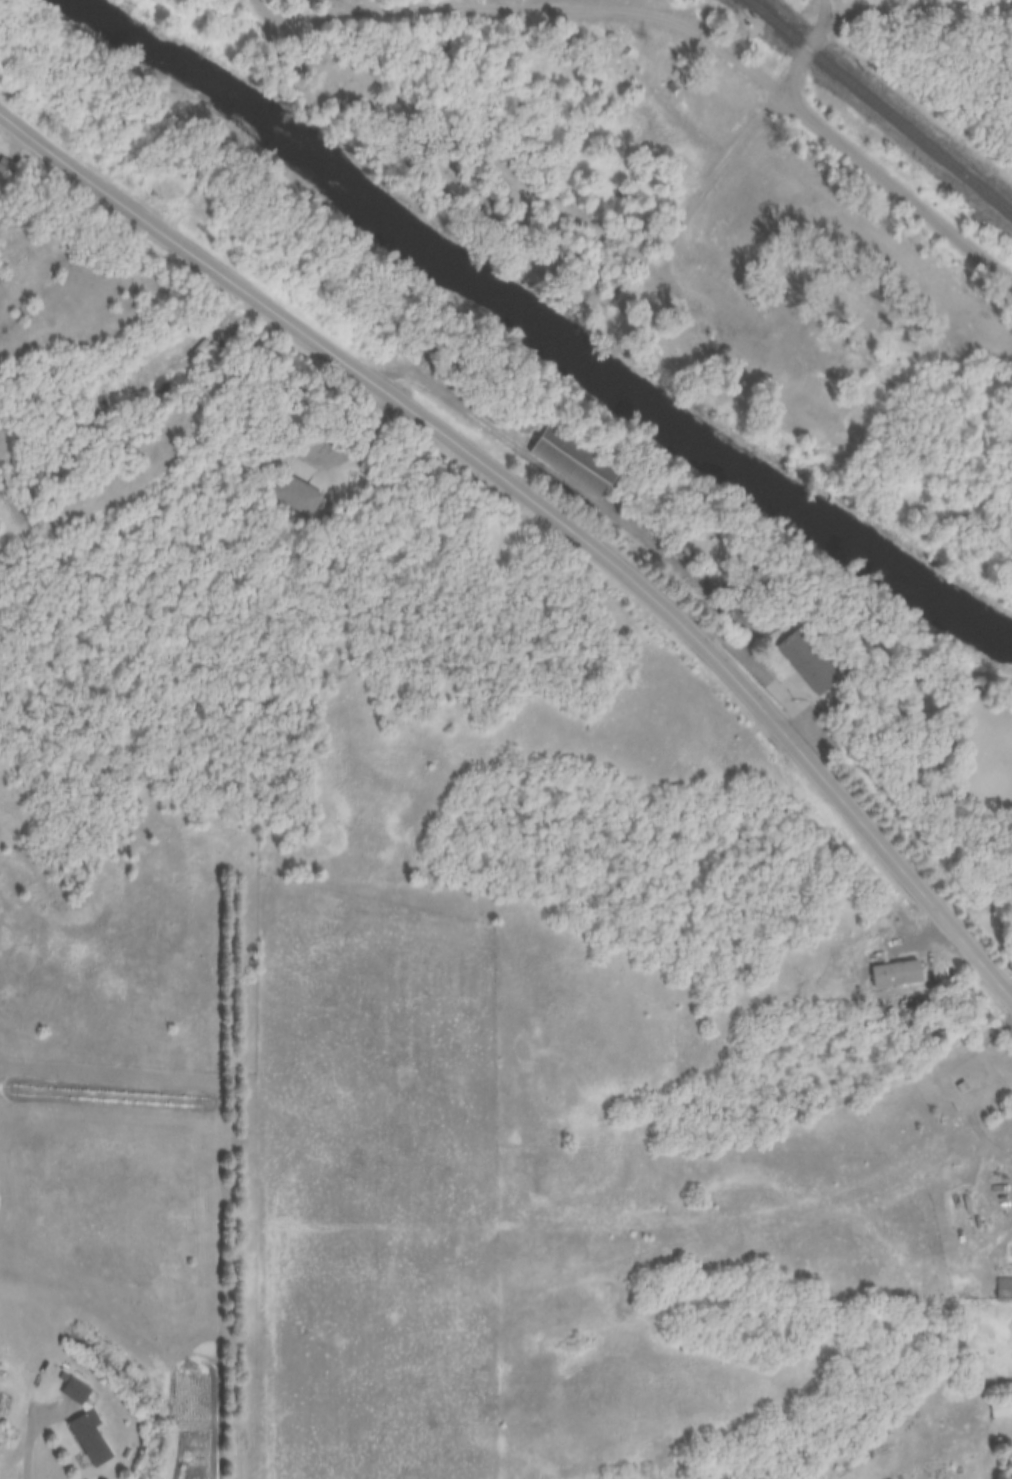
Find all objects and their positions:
road: (343, 5)
road: (918, 7)
road: (574, 8)
road: (301, 15)
road: (807, 45)
railway: (879, 107)
building: (656, 136)
road: (471, 146)
building: (4, 167)
road: (895, 182)
building: (462, 183)
road: (665, 244)
building: (716, 295)
river: (536, 328)
building: (753, 350)
building: (815, 413)
road: (490, 422)
building: (576, 461)
building: (299, 495)
road: (546, 504)
building: (687, 553)
building: (809, 662)
road: (762, 669)
road: (896, 934)
building: (908, 966)
road: (945, 1076)
building: (961, 1087)
building: (1003, 1288)
building: (70, 1390)
building: (1000, 1408)
road: (38, 1430)
building: (85, 1438)

